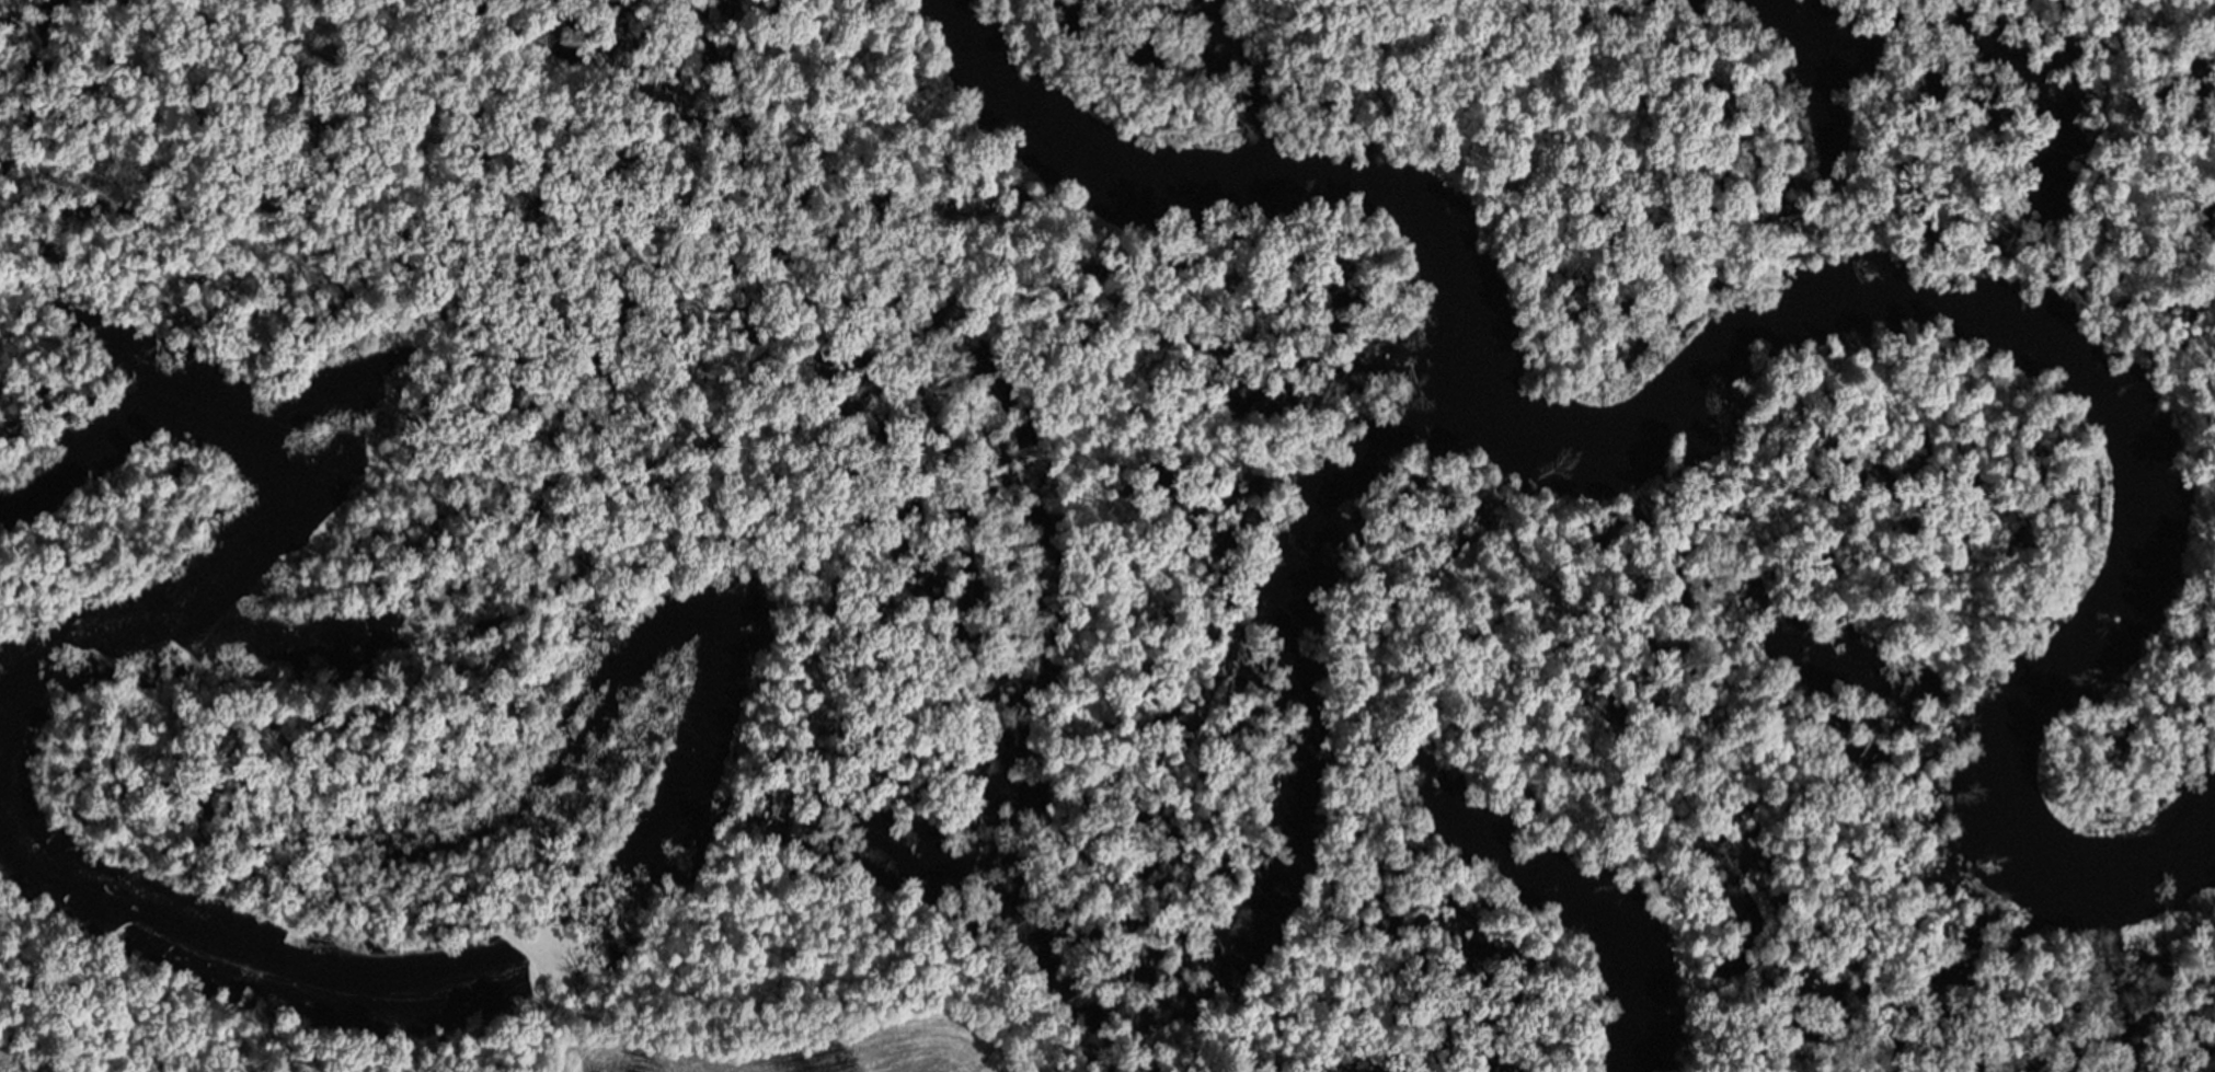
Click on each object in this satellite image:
river: (1274, 154)
river: (2128, 423)

